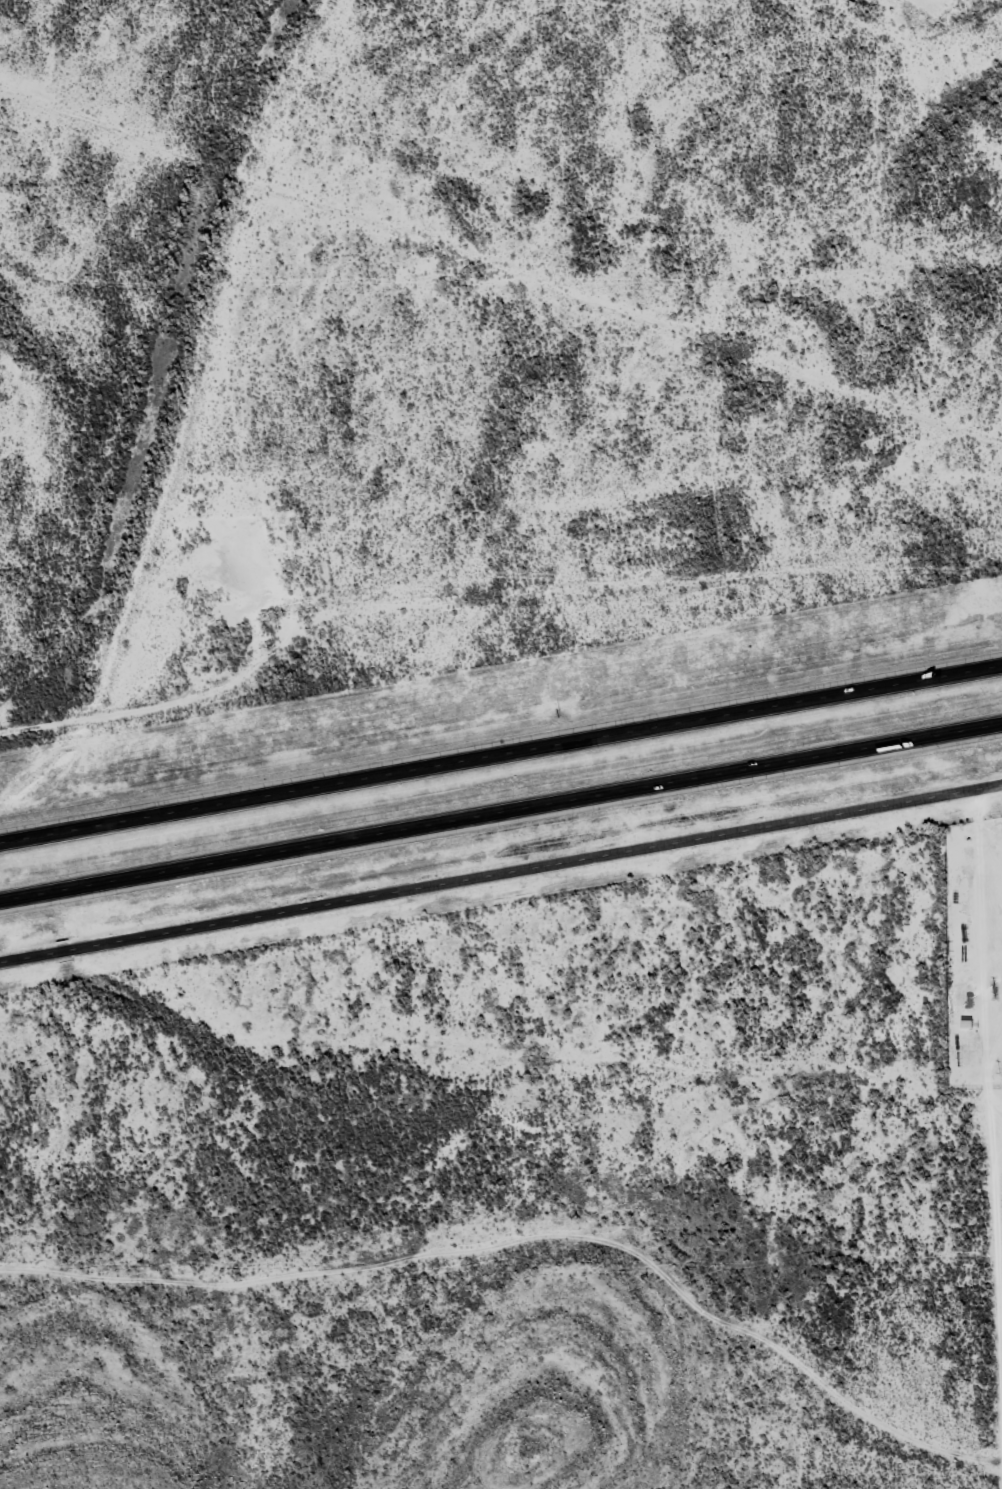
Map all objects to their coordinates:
road: (501, 755)
road: (500, 810)
road: (501, 873)

